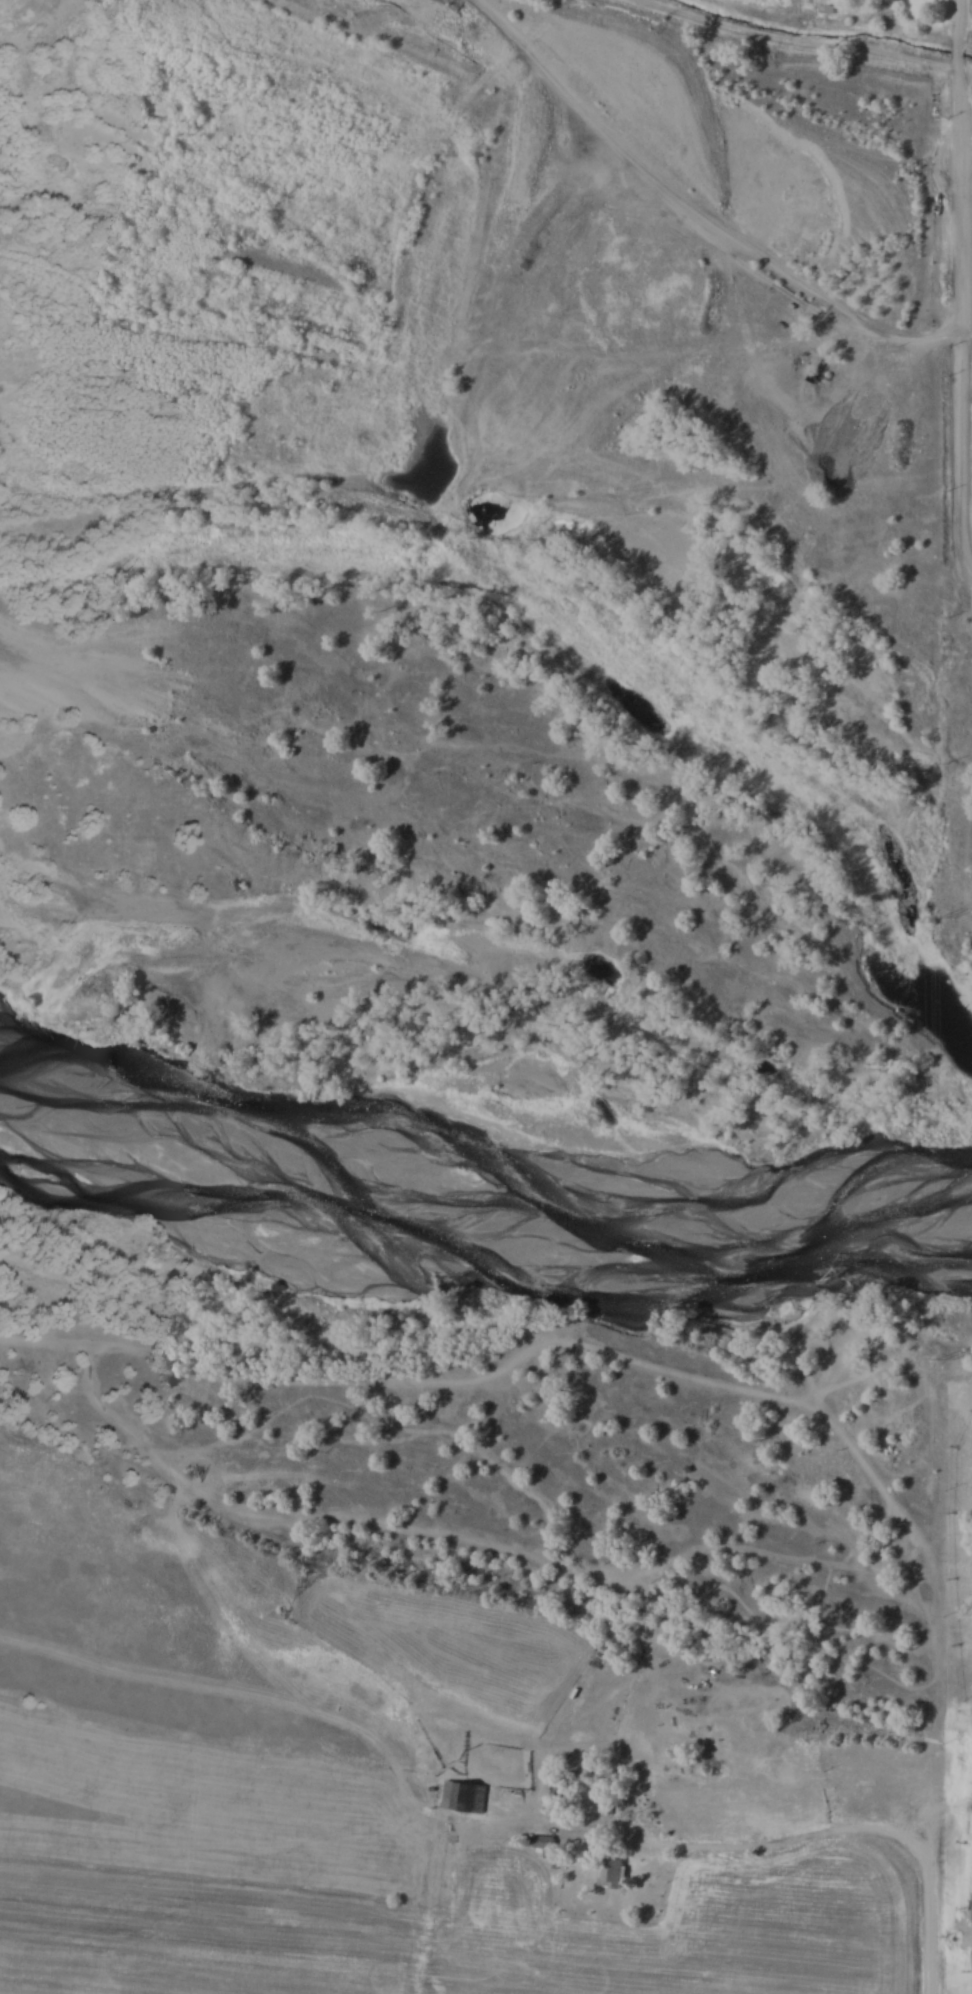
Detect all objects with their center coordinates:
road: (966, 513)
road: (970, 562)
river: (472, 1196)
road: (933, 1674)
building: (463, 1798)
road: (780, 1842)
building: (542, 1843)
building: (609, 1875)

